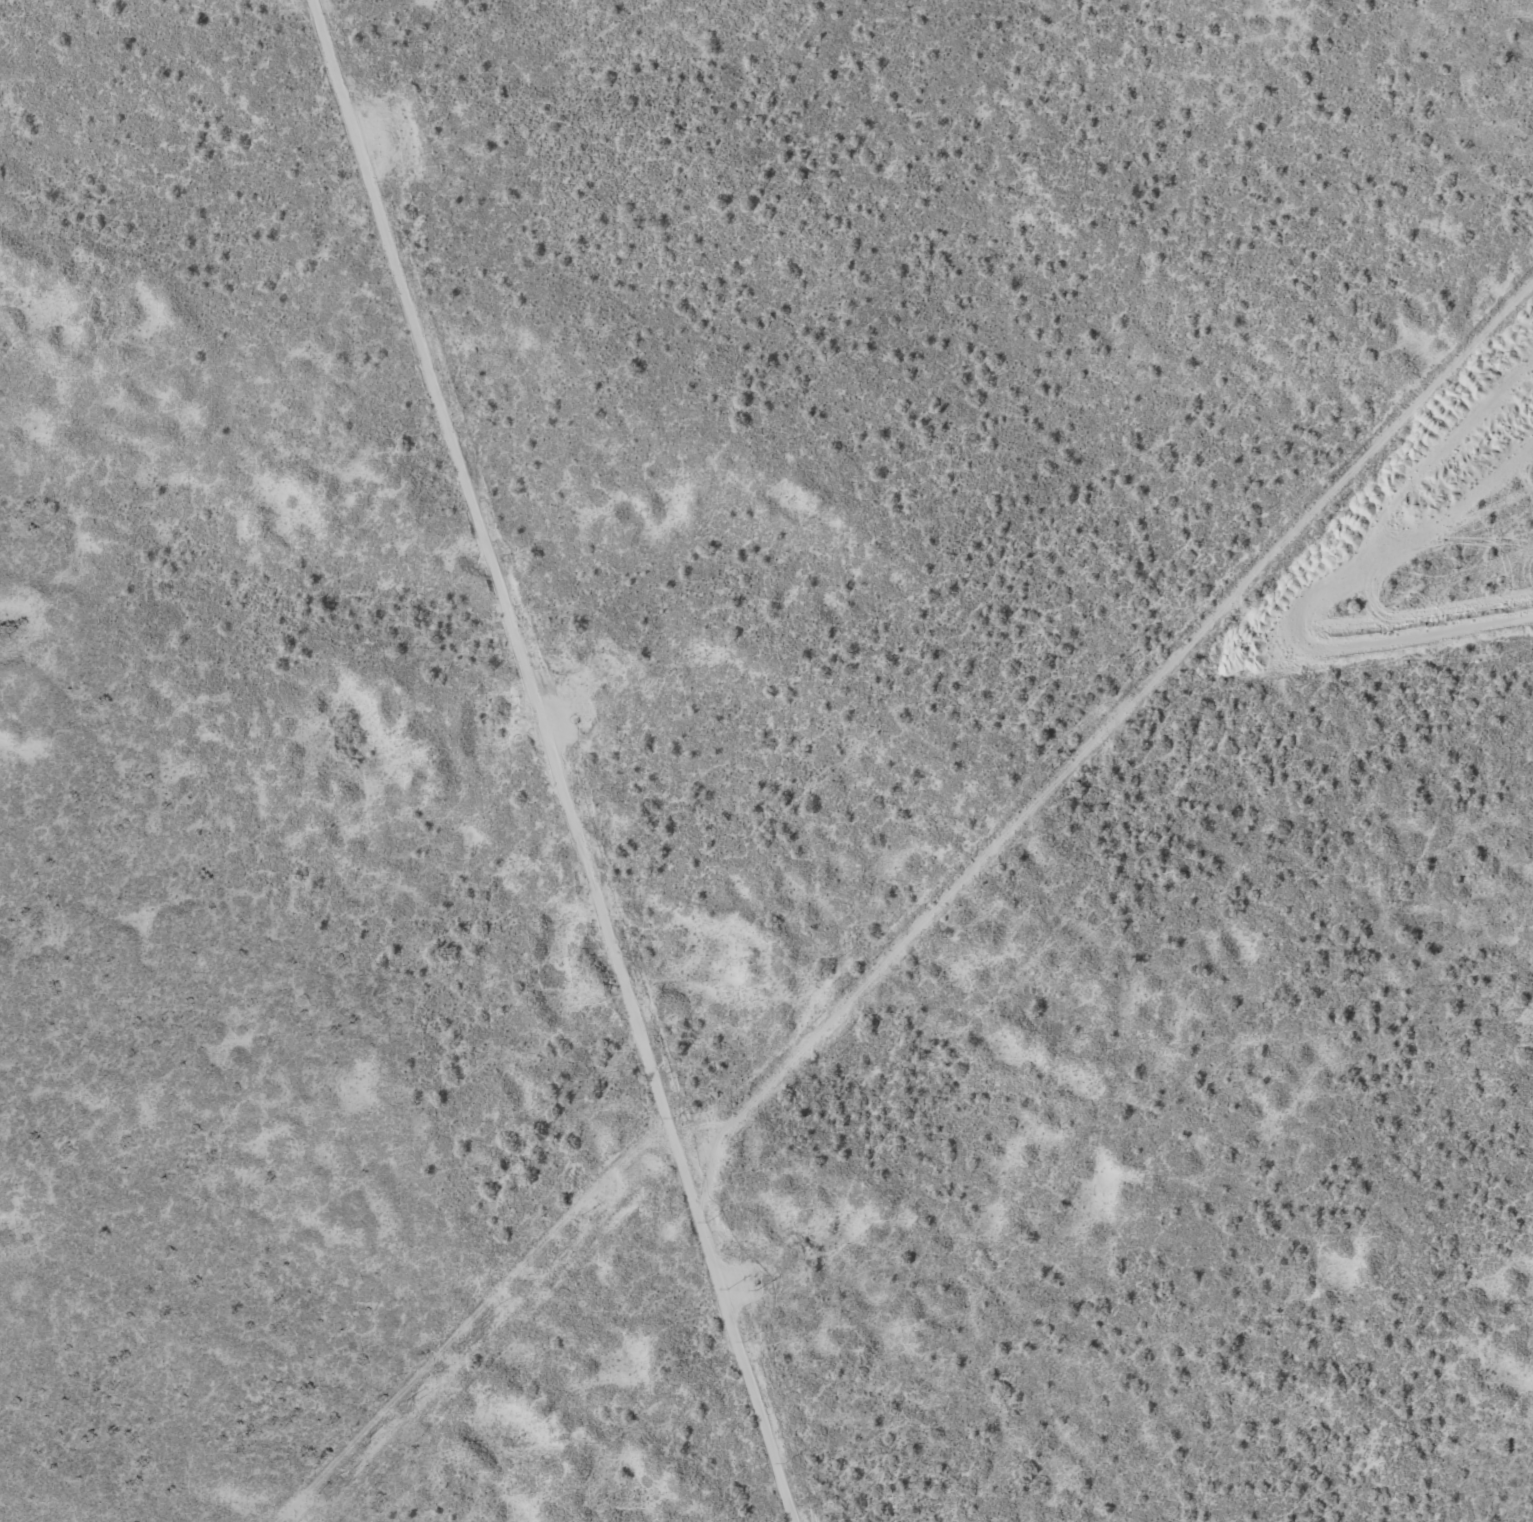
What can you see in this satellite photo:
quarry: (1415, 874)

